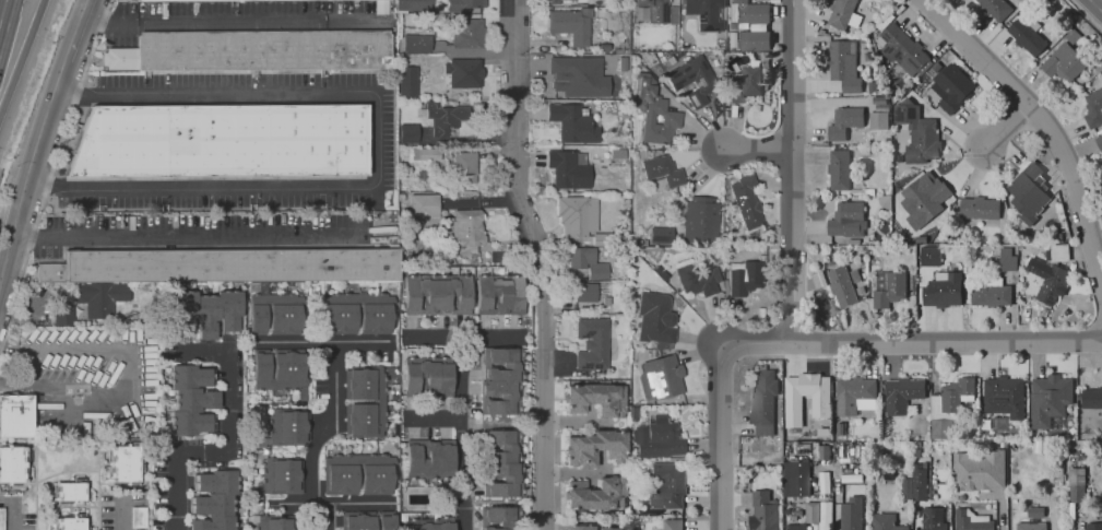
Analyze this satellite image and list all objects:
building: (179, 0)
building: (553, 0)
road: (1099, 2)
building: (413, 3)
building: (463, 3)
building: (996, 7)
building: (654, 10)
building: (704, 10)
building: (749, 11)
building: (841, 12)
road: (1088, 13)
road: (4, 19)
road: (234, 20)
building: (571, 25)
road: (79, 30)
building: (470, 32)
building: (1027, 35)
building: (753, 38)
road: (542, 40)
building: (413, 43)
building: (902, 47)
building: (253, 50)
road: (474, 51)
road: (22, 55)
building: (1065, 61)
building: (844, 63)
building: (464, 71)
building: (578, 75)
building: (691, 78)
building: (408, 80)
building: (746, 82)
building: (953, 82)
building: (1094, 106)
building: (655, 111)
building: (445, 117)
building: (877, 120)
building: (572, 121)
building: (844, 121)
building: (408, 131)
building: (919, 132)
road: (1043, 133)
road: (1005, 136)
road: (464, 139)
building: (222, 141)
building: (1099, 142)
road: (376, 153)
building: (426, 153)
road: (757, 153)
building: (465, 164)
road: (54, 166)
building: (568, 167)
building: (663, 168)
building: (838, 168)
road: (29, 169)
road: (791, 172)
building: (927, 188)
building: (1027, 193)
road: (483, 199)
building: (746, 200)
building: (424, 203)
building: (980, 207)
building: (578, 214)
building: (848, 217)
building: (700, 221)
building: (467, 225)
building: (660, 235)
road: (202, 237)
building: (931, 255)
building: (1007, 258)
building: (588, 261)
road: (542, 262)
building: (223, 264)
building: (745, 276)
building: (697, 278)
building: (1048, 280)
building: (842, 284)
building: (890, 288)
building: (943, 288)
building: (585, 290)
building: (437, 293)
building: (499, 293)
building: (991, 294)
building: (99, 297)
building: (202, 309)
building: (62, 314)
building: (375, 316)
building: (258, 317)
building: (285, 317)
building: (340, 317)
building: (655, 317)
road: (500, 340)
road: (426, 341)
building: (593, 342)
road: (911, 343)
road: (457, 355)
road: (131, 366)
building: (280, 366)
building: (428, 374)
parking lot: (84, 376)
building: (663, 376)
building: (501, 379)
building: (853, 392)
building: (902, 392)
building: (955, 392)
building: (1004, 396)
building: (1048, 397)
building: (1092, 397)
building: (595, 398)
building: (190, 399)
building: (363, 400)
building: (763, 401)
road: (331, 404)
building: (793, 404)
building: (15, 414)
road: (434, 417)
road: (578, 420)
building: (289, 425)
building: (660, 438)
road: (723, 438)
road: (460, 444)
road: (229, 446)
building: (595, 446)
building: (429, 458)
building: (506, 461)
building: (13, 463)
building: (122, 463)
road: (66, 464)
road: (577, 470)
building: (977, 470)
road: (59, 473)
building: (283, 473)
building: (359, 473)
building: (799, 476)
building: (1076, 482)
building: (914, 483)
building: (667, 484)
road: (37, 488)
road: (99, 488)
building: (69, 491)
building: (597, 492)
road: (995, 494)
building: (216, 499)
road: (110, 503)
road: (294, 503)
road: (357, 503)
road: (69, 506)
road: (71, 508)
building: (765, 510)
parking lot: (123, 511)
building: (817, 511)
parking lot: (19, 513)
building: (851, 514)
road: (121, 515)
road: (17, 516)
building: (139, 517)
building: (500, 517)
road: (919, 517)
building: (1, 518)
road: (838, 518)
building: (934, 518)
building: (367, 519)
building: (274, 521)
building: (885, 521)
building: (970, 521)
building: (69, 522)
building: (430, 522)
building: (673, 523)
building: (595, 526)
building: (797, 526)
building: (1031, 526)
building: (1094, 526)

